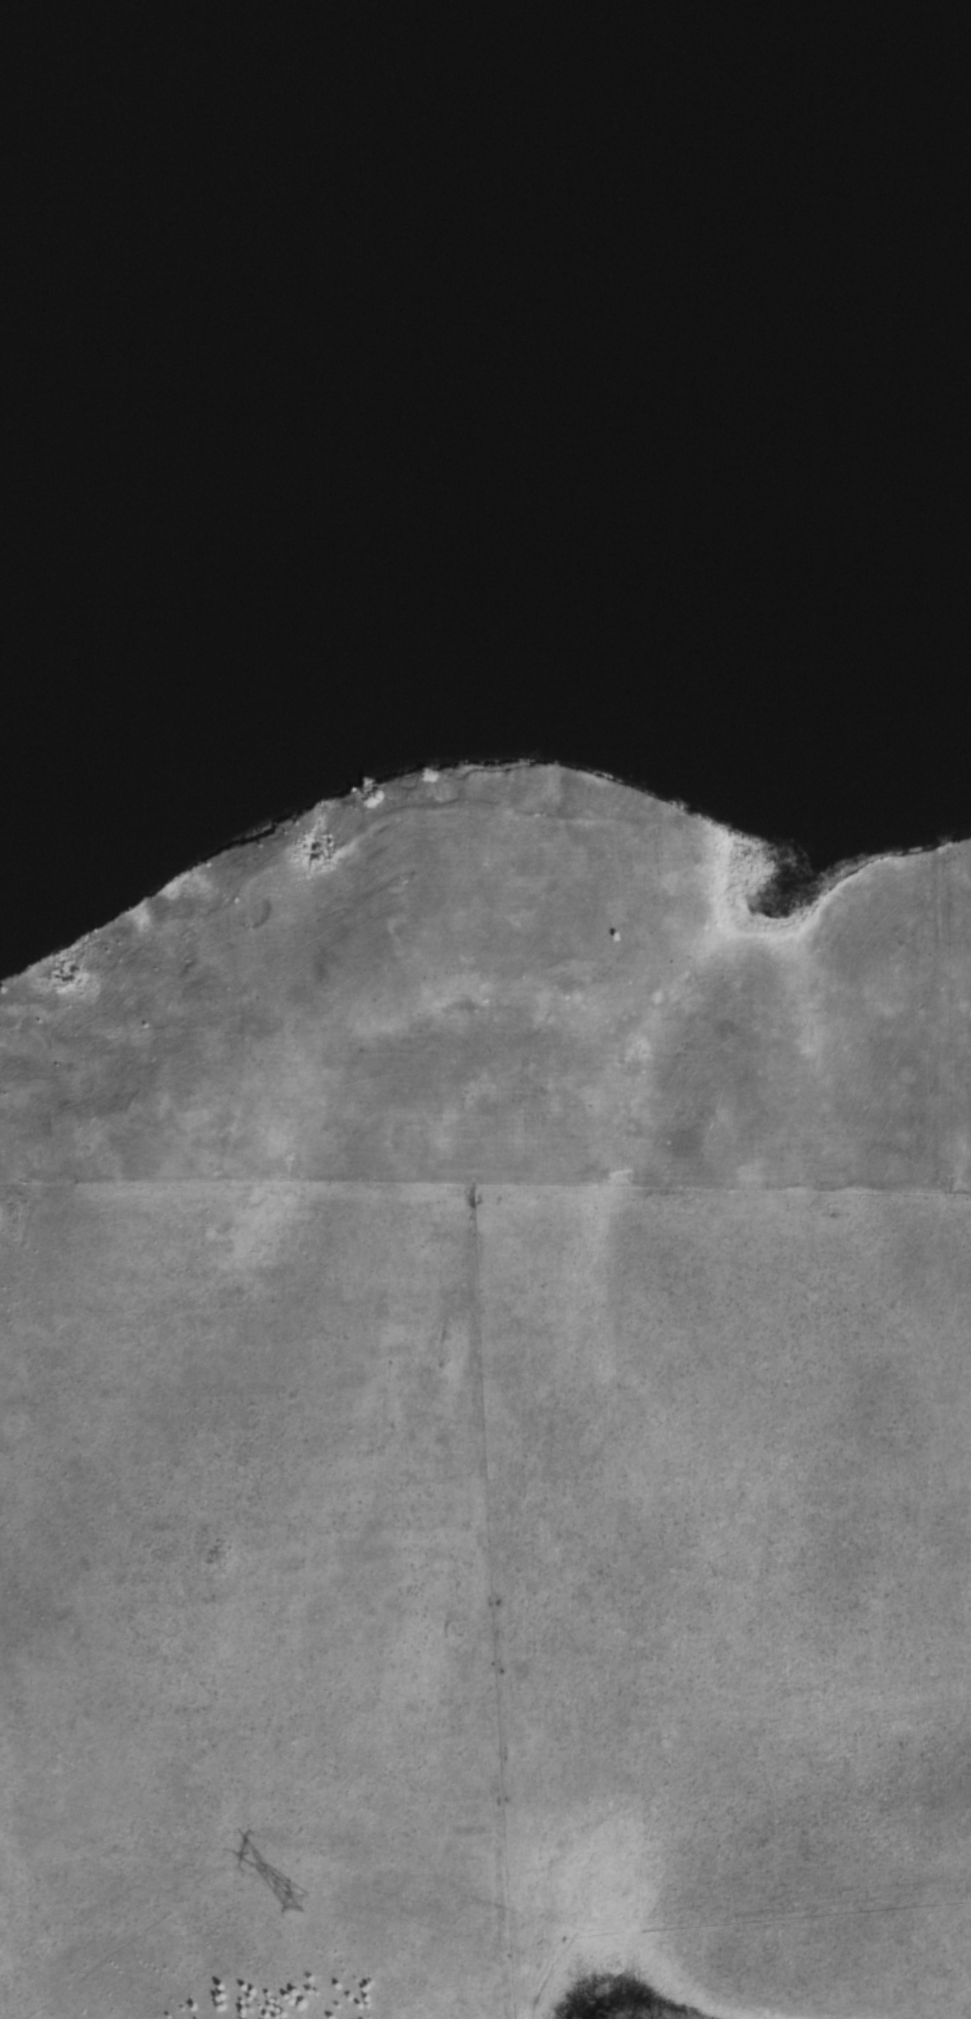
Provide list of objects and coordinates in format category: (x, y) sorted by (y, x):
power tower: (294, 1949)

